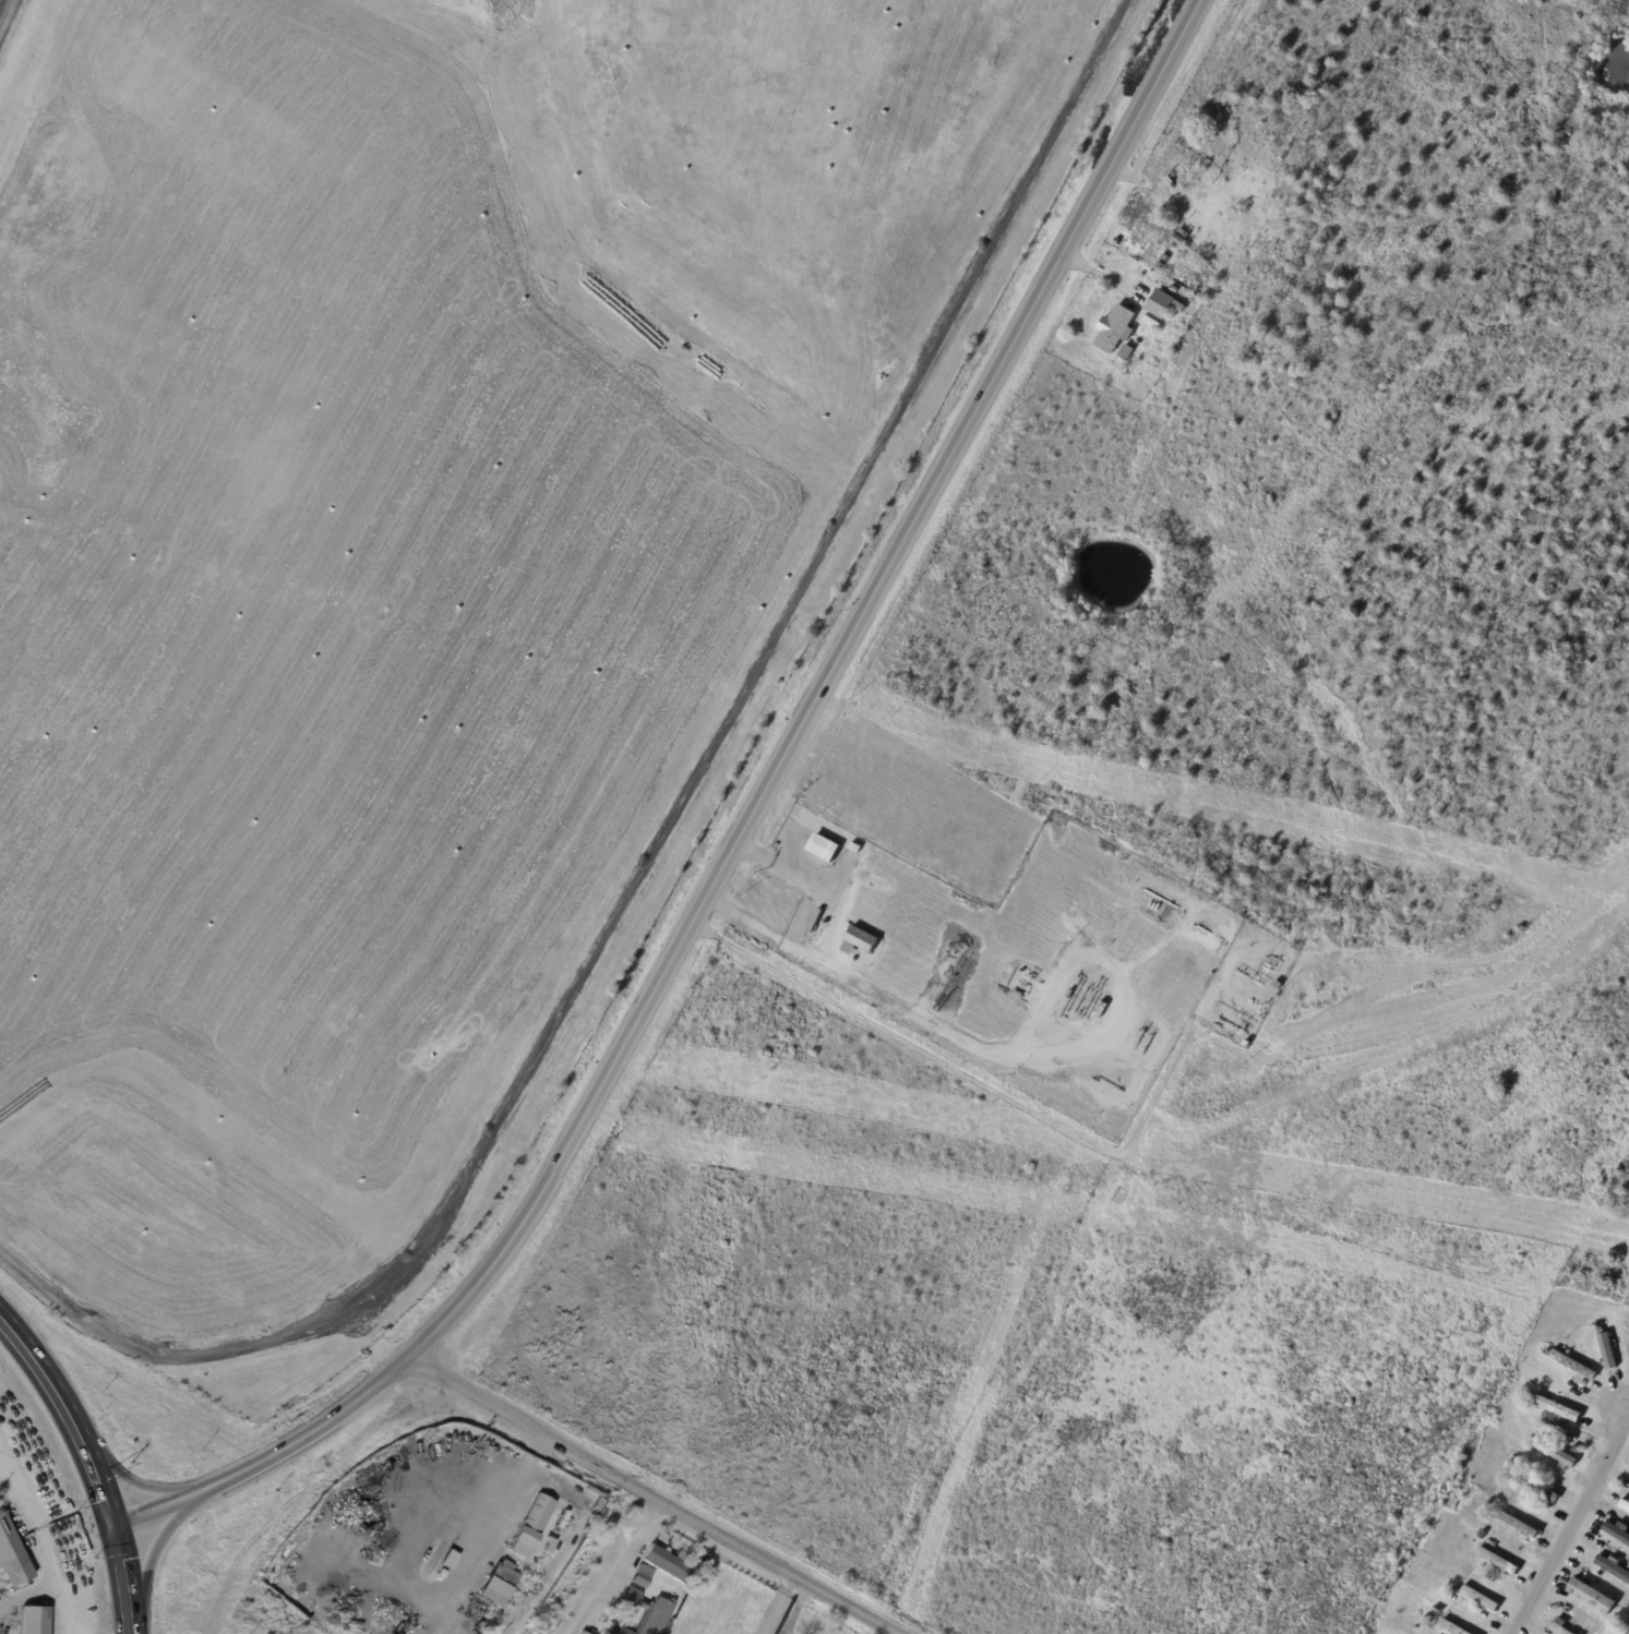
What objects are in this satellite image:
road: (3, 9)
building: (1205, 164)
building: (1178, 237)
building: (1247, 238)
building: (1164, 259)
building: (1161, 268)
building: (1193, 301)
building: (1160, 304)
building: (1177, 307)
building: (1114, 329)
building: (1125, 353)
landfill: (415, 556)
road: (772, 644)
road: (821, 689)
building: (823, 849)
building: (855, 850)
road: (829, 934)
building: (859, 941)
building: (1023, 985)
building: (1277, 986)
building: (1099, 1010)
building: (1246, 1044)
building: (1600, 1331)
building: (1607, 1351)
road: (192, 1354)
building: (1547, 1354)
building: (1573, 1368)
road: (47, 1382)
building: (1529, 1399)
building: (1556, 1409)
road: (307, 1432)
building: (1573, 1451)
building: (1558, 1456)
building: (1517, 1464)
road: (137, 1487)
building: (1535, 1488)
road: (98, 1490)
road: (654, 1495)
building: (1504, 1504)
building: (1622, 1506)
road: (155, 1510)
building: (1519, 1527)
road: (1570, 1529)
building: (1615, 1534)
building: (536, 1536)
building: (1482, 1536)
road: (43, 1541)
building: (11, 1557)
road: (152, 1557)
building: (1498, 1563)
building: (668, 1564)
road: (619, 1567)
building: (1612, 1569)
building: (640, 1577)
building: (500, 1578)
road: (121, 1579)
road: (32, 1591)
building: (1456, 1591)
building: (1590, 1596)
building: (1480, 1599)
road: (780, 1603)
road: (795, 1608)
building: (1436, 1611)
building: (644, 1613)
building: (33, 1620)
building: (1557, 1626)
building: (1451, 1627)
building: (582, 1632)

